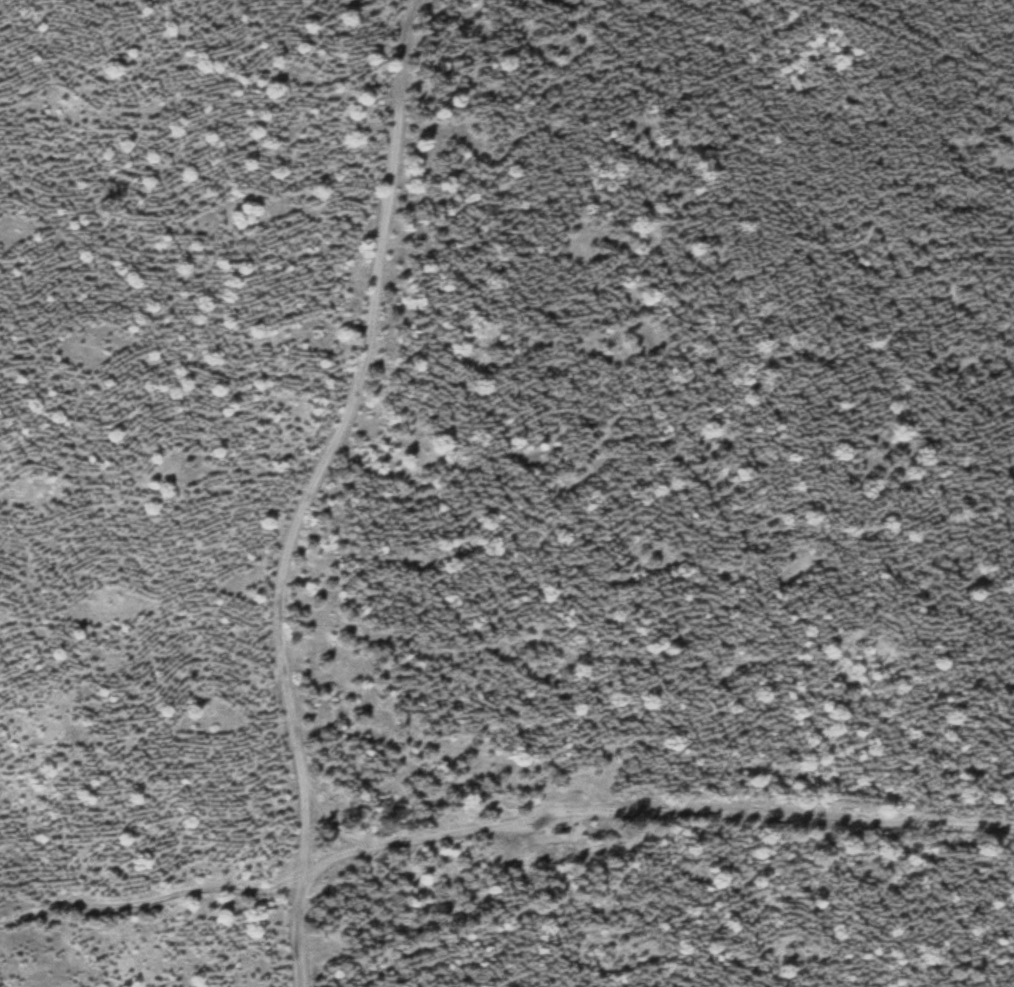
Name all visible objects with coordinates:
road: (904, 38)
road: (316, 488)
road: (500, 820)
petroleum well: (563, 828)

